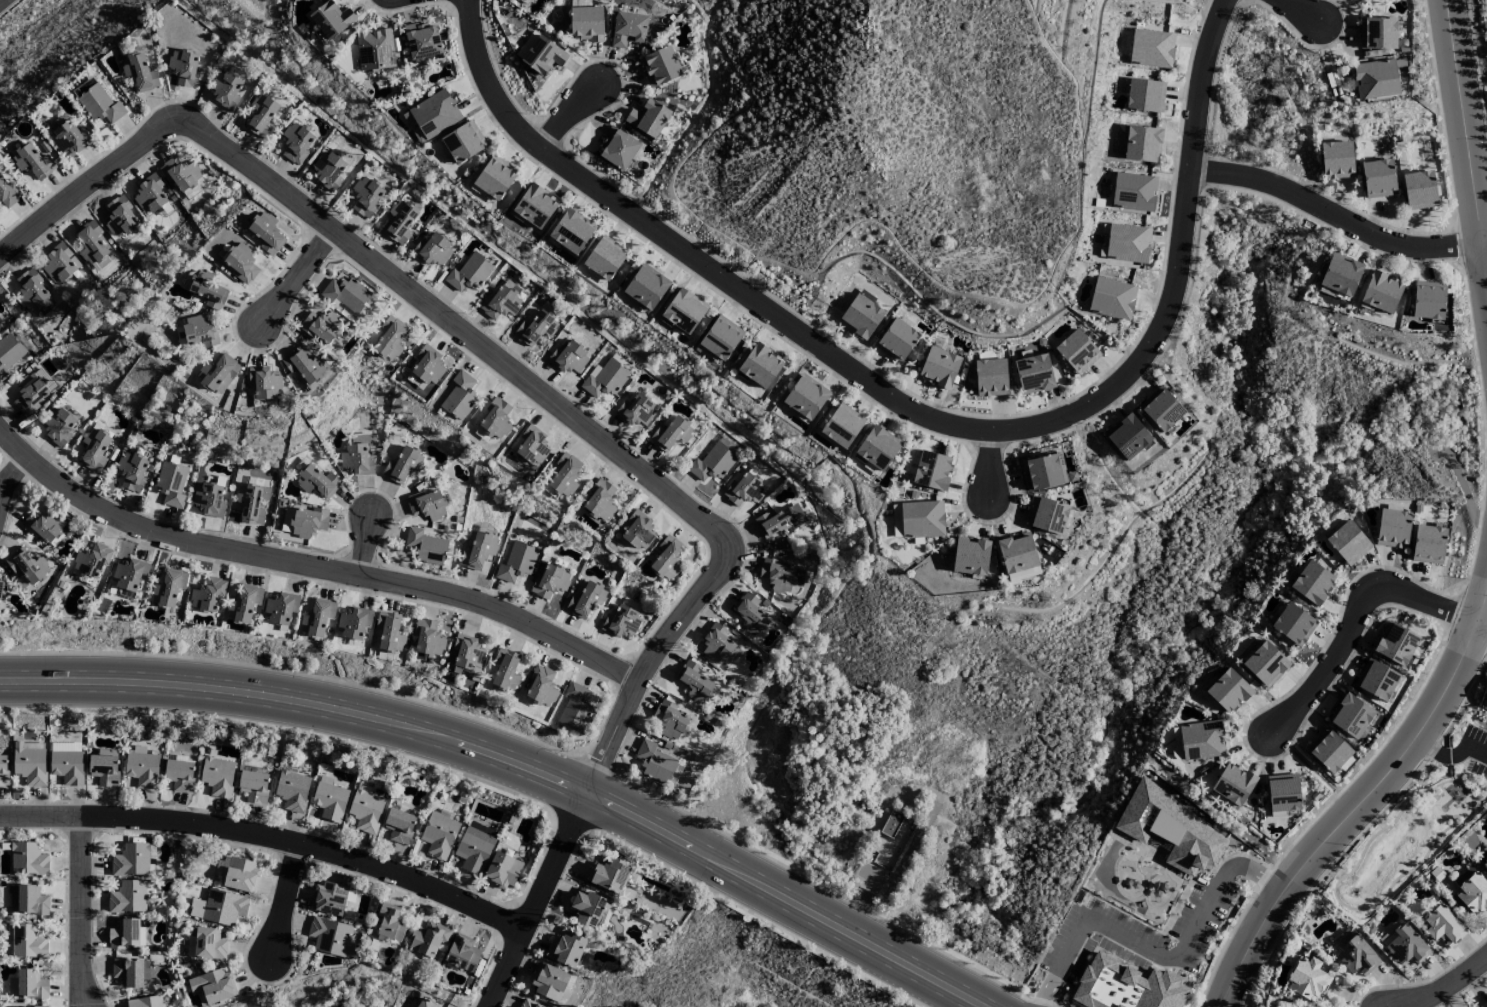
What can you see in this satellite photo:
road: (0, 0)
building: (522, 1)
road: (1301, 11)
building: (331, 20)
building: (586, 24)
building: (628, 29)
building: (1377, 33)
building: (424, 43)
building: (374, 50)
building: (1151, 50)
building: (540, 54)
building: (660, 66)
building: (184, 68)
building: (139, 73)
building: (1375, 79)
building: (226, 90)
building: (1145, 96)
building: (99, 105)
building: (261, 116)
building: (431, 117)
building: (648, 118)
road: (567, 120)
building: (69, 138)
road: (1467, 138)
building: (296, 143)
building: (463, 143)
building: (1142, 144)
building: (618, 149)
building: (1336, 160)
building: (32, 162)
building: (327, 171)
building: (183, 177)
building: (495, 178)
building: (1378, 179)
road: (87, 191)
building: (1419, 191)
building: (1133, 192)
building: (8, 194)
building: (148, 196)
building: (366, 196)
building: (535, 206)
building: (120, 217)
road: (1336, 218)
building: (400, 222)
building: (571, 232)
building: (266, 233)
building: (90, 243)
building: (1127, 244)
road: (1485, 246)
building: (432, 250)
building: (605, 258)
building: (241, 263)
building: (57, 265)
building: (468, 273)
building: (1340, 275)
road: (297, 276)
road: (400, 284)
building: (646, 287)
building: (208, 291)
building: (1381, 292)
building: (34, 293)
building: (346, 295)
building: (1112, 299)
building: (1428, 300)
building: (501, 302)
building: (366, 307)
building: (684, 311)
building: (860, 317)
building: (320, 326)
building: (535, 329)
building: (198, 333)
building: (720, 338)
building: (389, 339)
building: (896, 341)
building: (1077, 351)
building: (8, 354)
building: (568, 358)
building: (427, 365)
building: (760, 366)
building: (305, 367)
building: (939, 368)
building: (218, 374)
building: (1033, 374)
building: (990, 378)
building: (604, 379)
building: (264, 383)
building: (34, 391)
building: (459, 396)
building: (805, 397)
building: (1161, 409)
building: (636, 411)
road: (914, 413)
building: (495, 420)
building: (60, 426)
building: (842, 426)
building: (670, 434)
building: (1128, 438)
building: (532, 447)
building: (877, 448)
building: (95, 449)
building: (356, 460)
building: (712, 463)
building: (402, 465)
road: (990, 465)
building: (931, 471)
building: (132, 472)
building: (1042, 472)
building: (564, 475)
road: (11, 478)
building: (316, 482)
building: (171, 484)
building: (744, 491)
building: (210, 498)
building: (600, 501)
building: (252, 504)
building: (427, 505)
building: (1046, 516)
building: (921, 520)
building: (780, 521)
building: (303, 522)
building: (44, 527)
building: (1392, 529)
building: (639, 531)
building: (1348, 543)
building: (1428, 545)
building: (425, 547)
road: (366, 548)
building: (478, 552)
building: (1016, 553)
building: (970, 556)
building: (667, 558)
building: (92, 561)
building: (516, 563)
building: (27, 566)
road: (312, 566)
building: (129, 574)
building: (1023, 574)
building: (780, 576)
building: (0, 582)
building: (549, 582)
building: (1312, 583)
building: (168, 588)
building: (207, 596)
building: (585, 600)
building: (244, 603)
building: (280, 608)
road: (689, 608)
building: (751, 614)
building: (317, 618)
building: (622, 620)
building: (353, 623)
road: (1357, 623)
building: (1293, 625)
road: (1482, 628)
building: (389, 632)
building: (428, 639)
building: (716, 644)
building: (1395, 644)
building: (466, 656)
building: (1265, 664)
building: (505, 670)
building: (693, 681)
building: (1377, 681)
building: (541, 686)
building: (1228, 691)
building: (574, 708)
building: (1350, 716)
building: (669, 720)
building: (1201, 740)
building: (1328, 751)
road: (1453, 753)
road: (525, 758)
building: (654, 762)
building: (67, 764)
building: (30, 766)
building: (104, 768)
building: (3, 770)
building: (142, 770)
road: (504, 770)
building: (179, 775)
park: (923, 776)
building: (217, 777)
road: (1459, 782)
building: (1232, 784)
building: (253, 787)
building: (292, 791)
building: (1283, 795)
building: (329, 802)
road: (1361, 809)
building: (365, 812)
building: (399, 826)
park: (1417, 826)
building: (1173, 831)
building: (438, 835)
road: (270, 839)
building: (890, 846)
building: (475, 847)
building: (27, 859)
building: (131, 861)
building: (1484, 864)
building: (502, 871)
building: (241, 875)
building: (609, 876)
building: (1473, 894)
building: (127, 898)
building: (329, 899)
building: (26, 900)
road: (1337, 901)
road: (538, 902)
road: (284, 904)
road: (865, 906)
building: (219, 908)
building: (588, 908)
road: (79, 913)
building: (389, 922)
building: (1443, 927)
building: (124, 934)
building: (329, 936)
building: (428, 939)
building: (26, 942)
building: (209, 944)
building: (1404, 945)
building: (566, 949)
building: (462, 954)
road: (1162, 955)
building: (1356, 957)
building: (130, 972)
building: (1307, 979)
building: (549, 982)
building: (27, 985)
building: (212, 986)
building: (1126, 986)
road: (1447, 988)
building: (145, 1002)
building: (425, 1003)
building: (529, 1004)
building: (1485, 1005)

